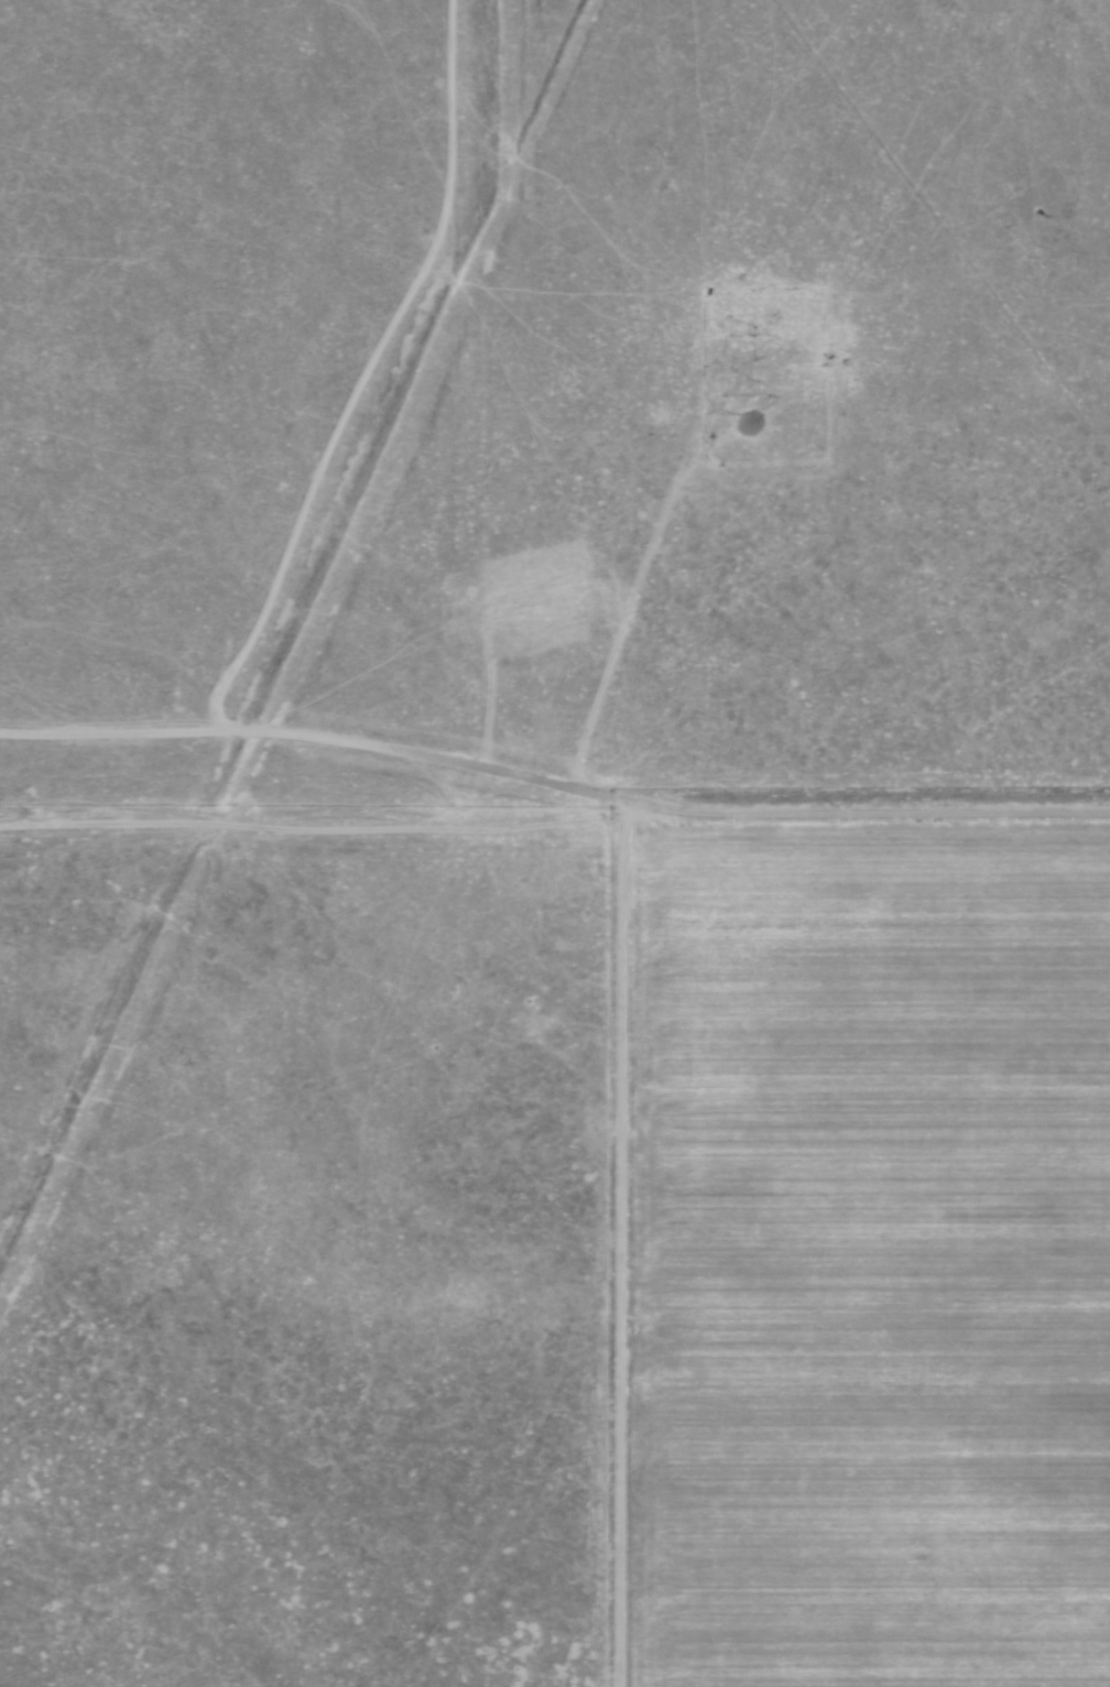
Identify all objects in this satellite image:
road: (553, 791)
road: (618, 1247)
crop: (868, 1255)

